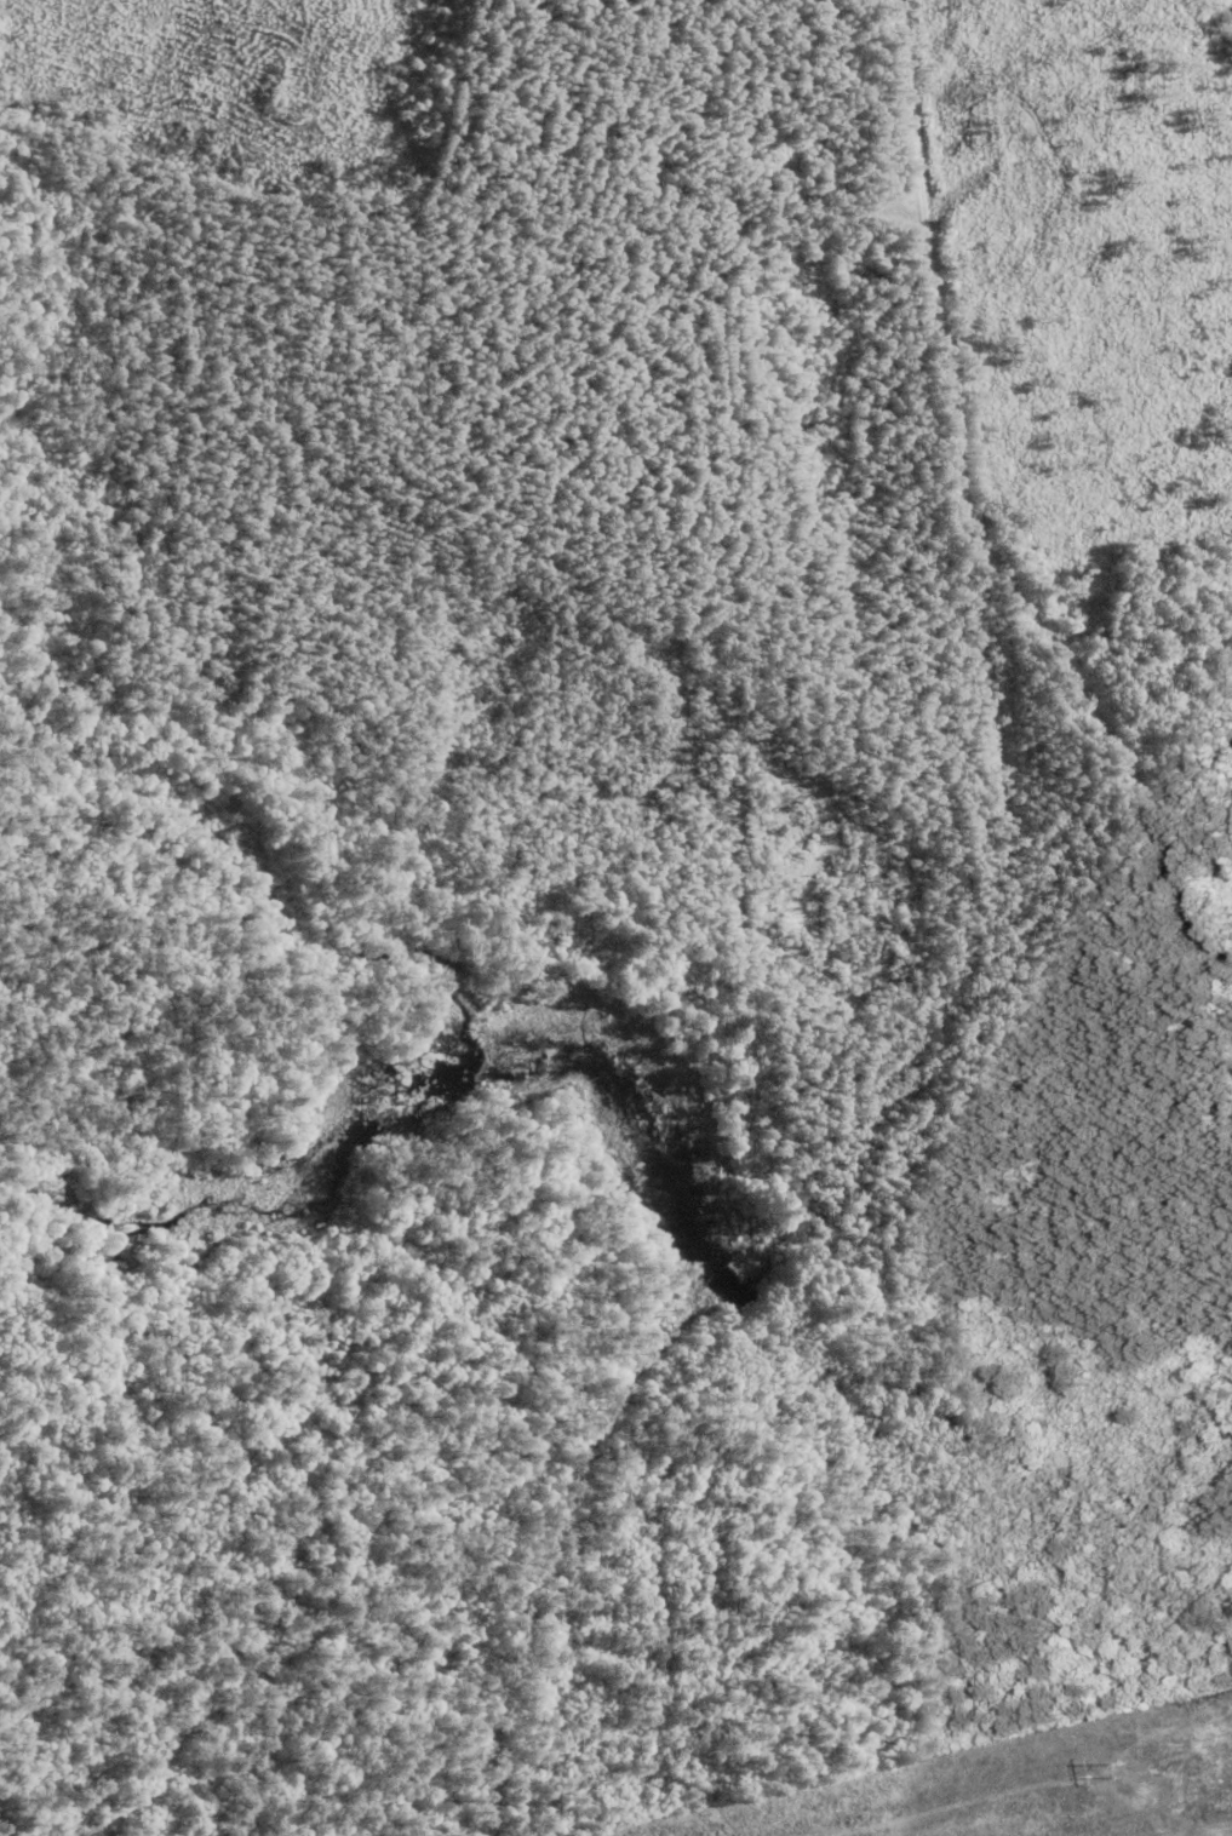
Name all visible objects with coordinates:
road: (965, 515)
power tower: (1113, 1772)

